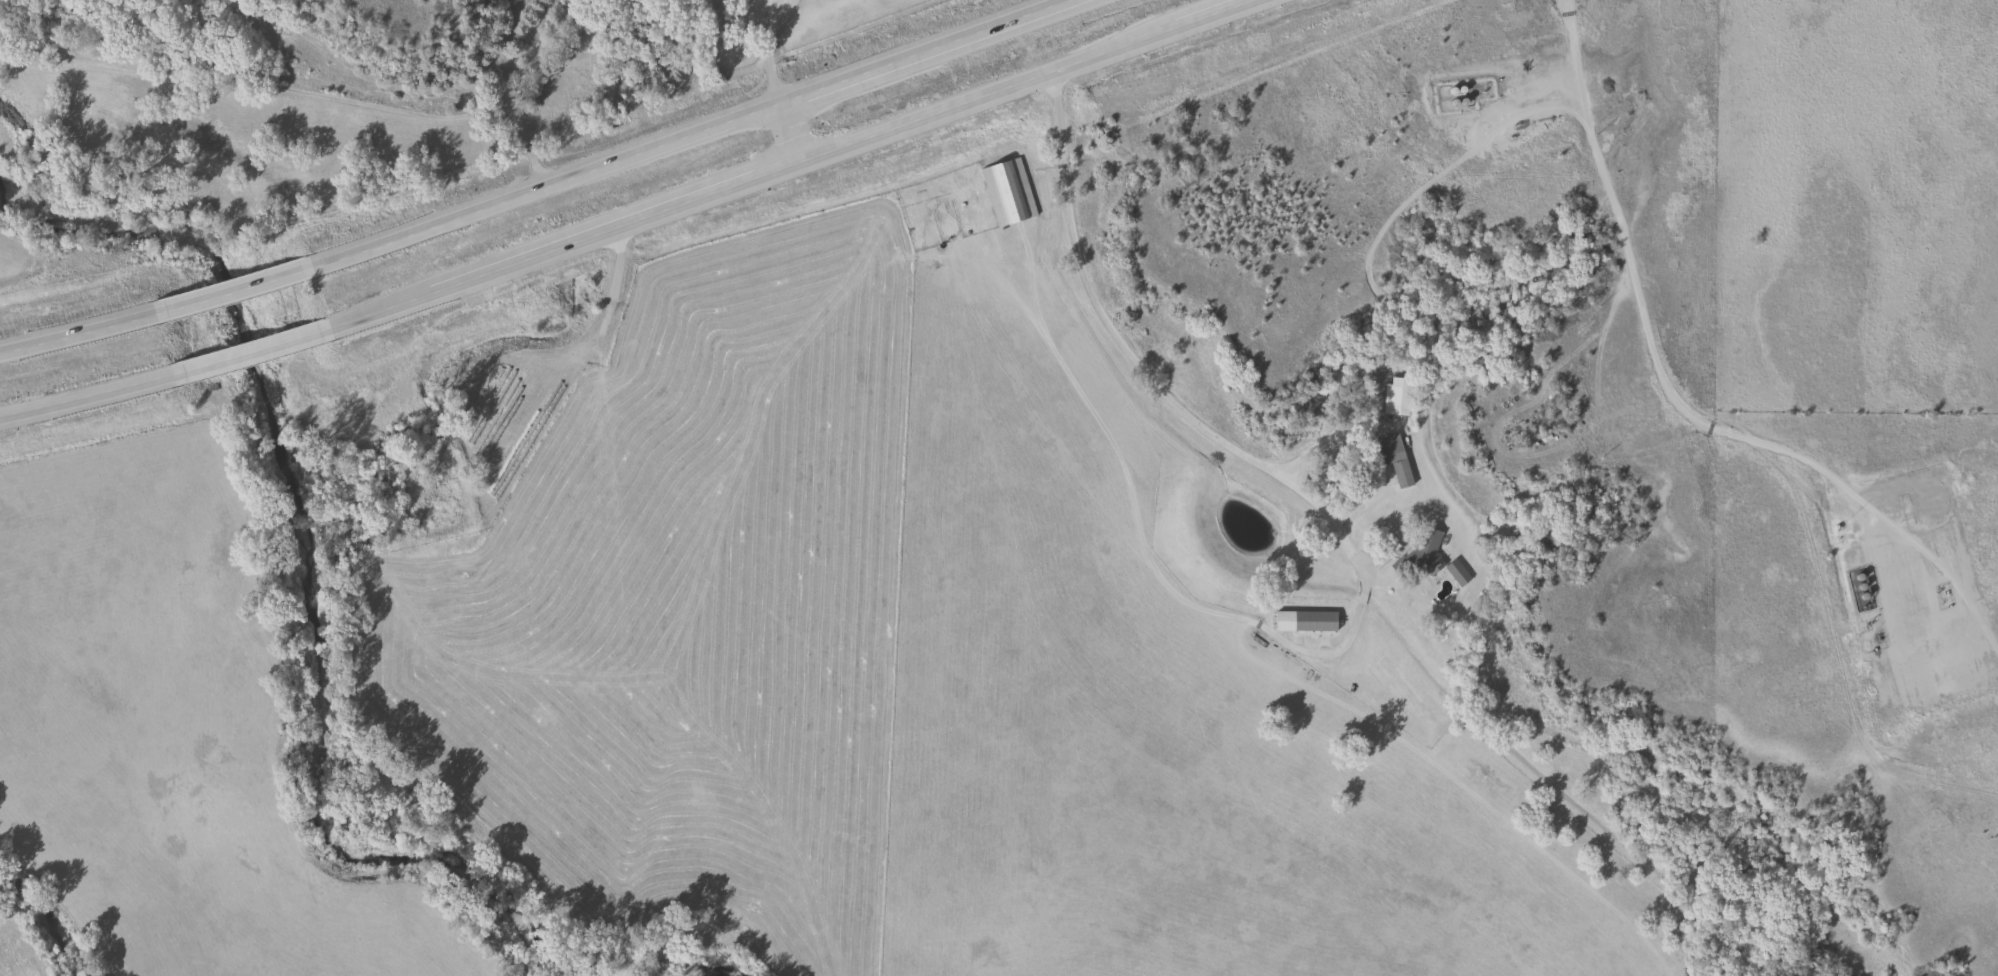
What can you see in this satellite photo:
road: (765, 50)
building: (581, 64)
road: (520, 81)
road: (698, 129)
road: (788, 134)
road: (801, 163)
building: (1007, 194)
road: (234, 282)
road: (78, 327)
road: (256, 348)
building: (238, 357)
road: (1138, 369)
road: (89, 397)
road: (1735, 439)
building: (1390, 459)
road: (1894, 528)
building: (1424, 553)
building: (1457, 574)
building: (1303, 624)
road: (1293, 648)

